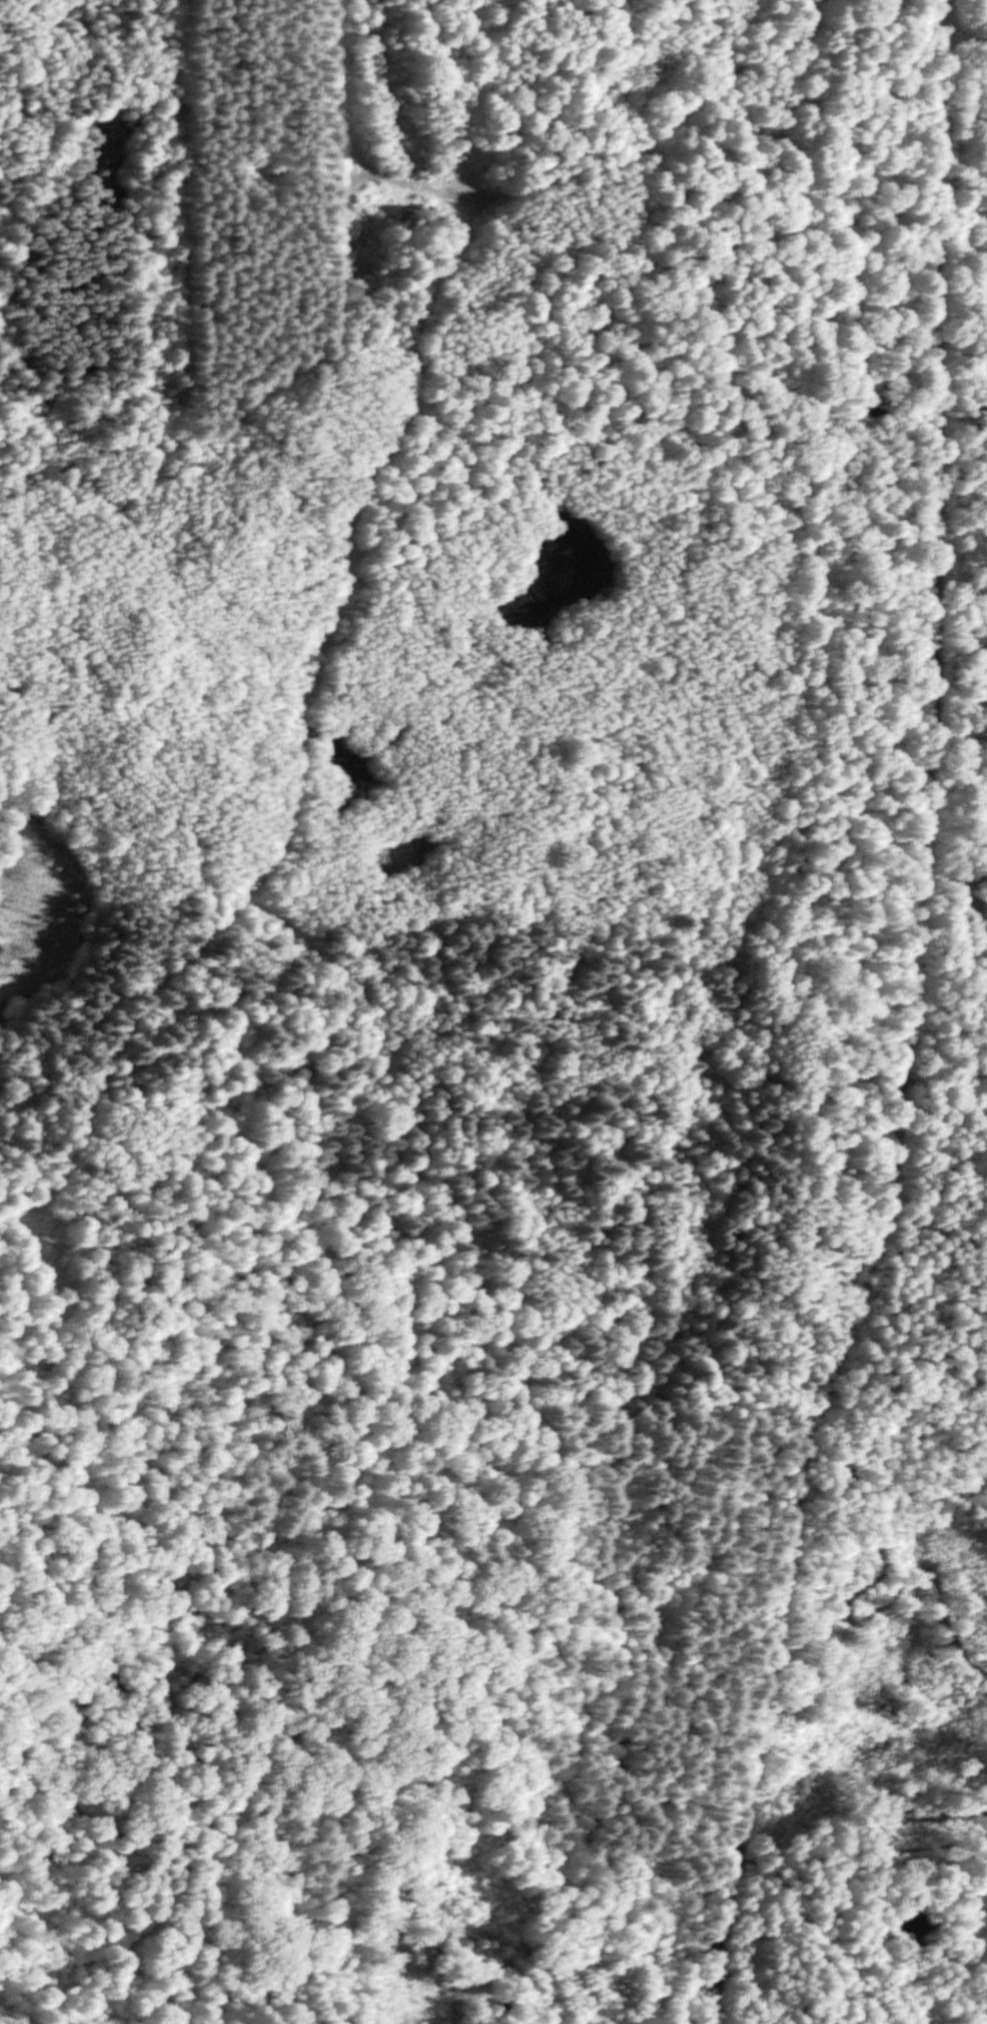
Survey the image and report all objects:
road: (959, 233)
park: (961, 497)
road: (902, 1023)
road: (831, 1059)
road: (971, 1172)
road: (597, 1185)
road: (933, 1436)
road: (317, 1768)
road: (779, 1875)
road: (842, 1877)

